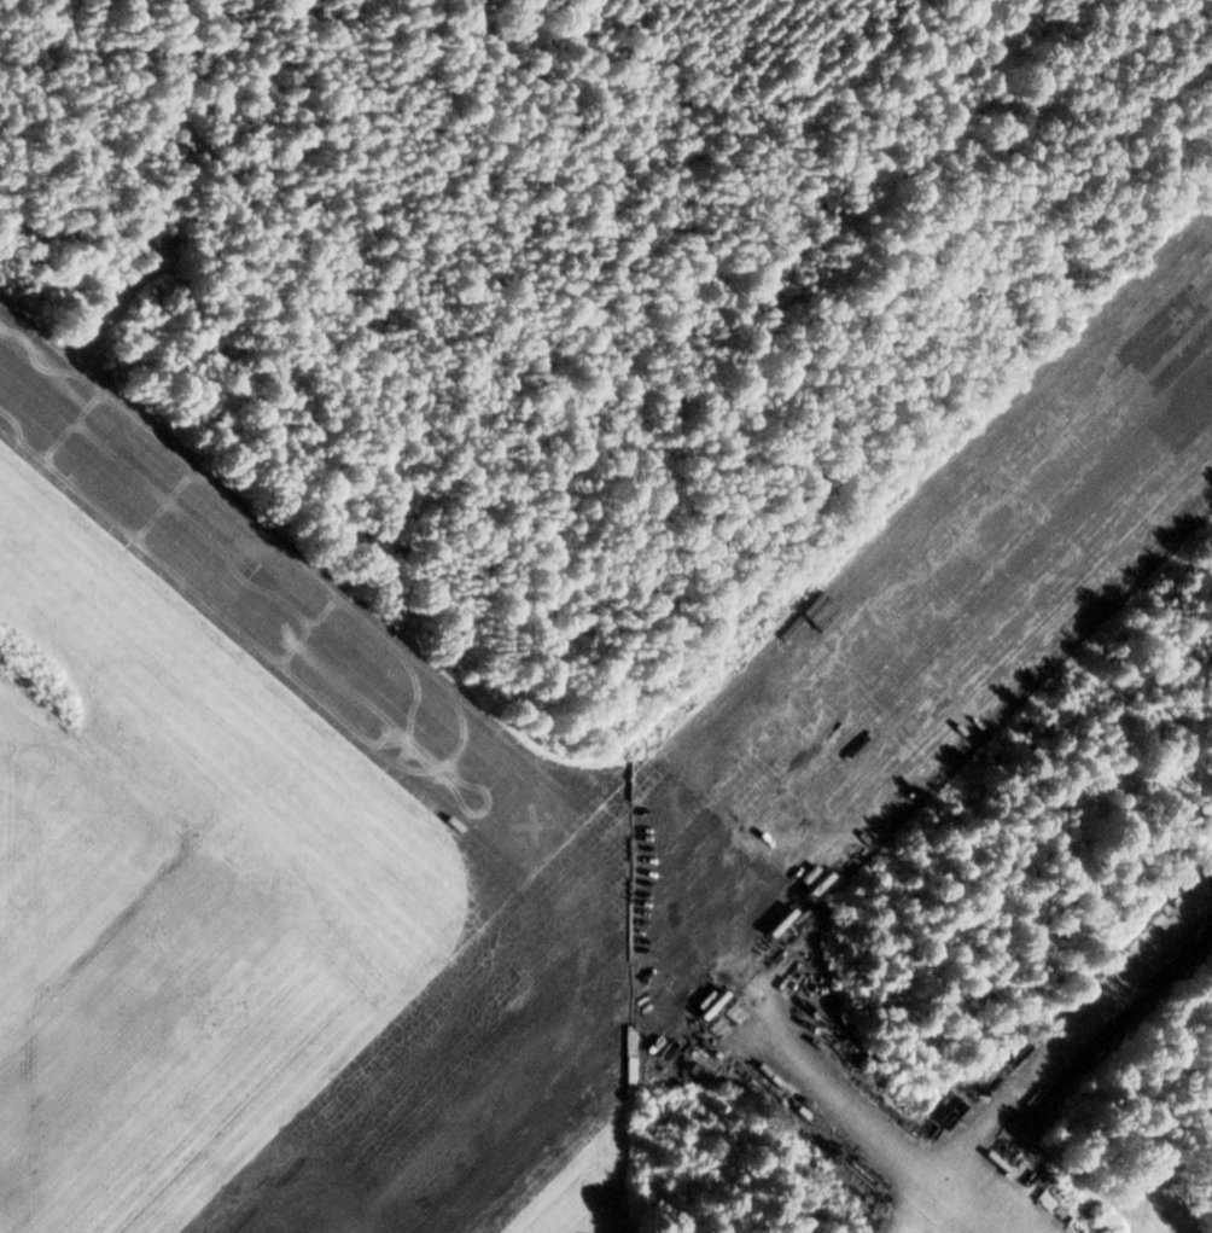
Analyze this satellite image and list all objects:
airport: (543, 568)

